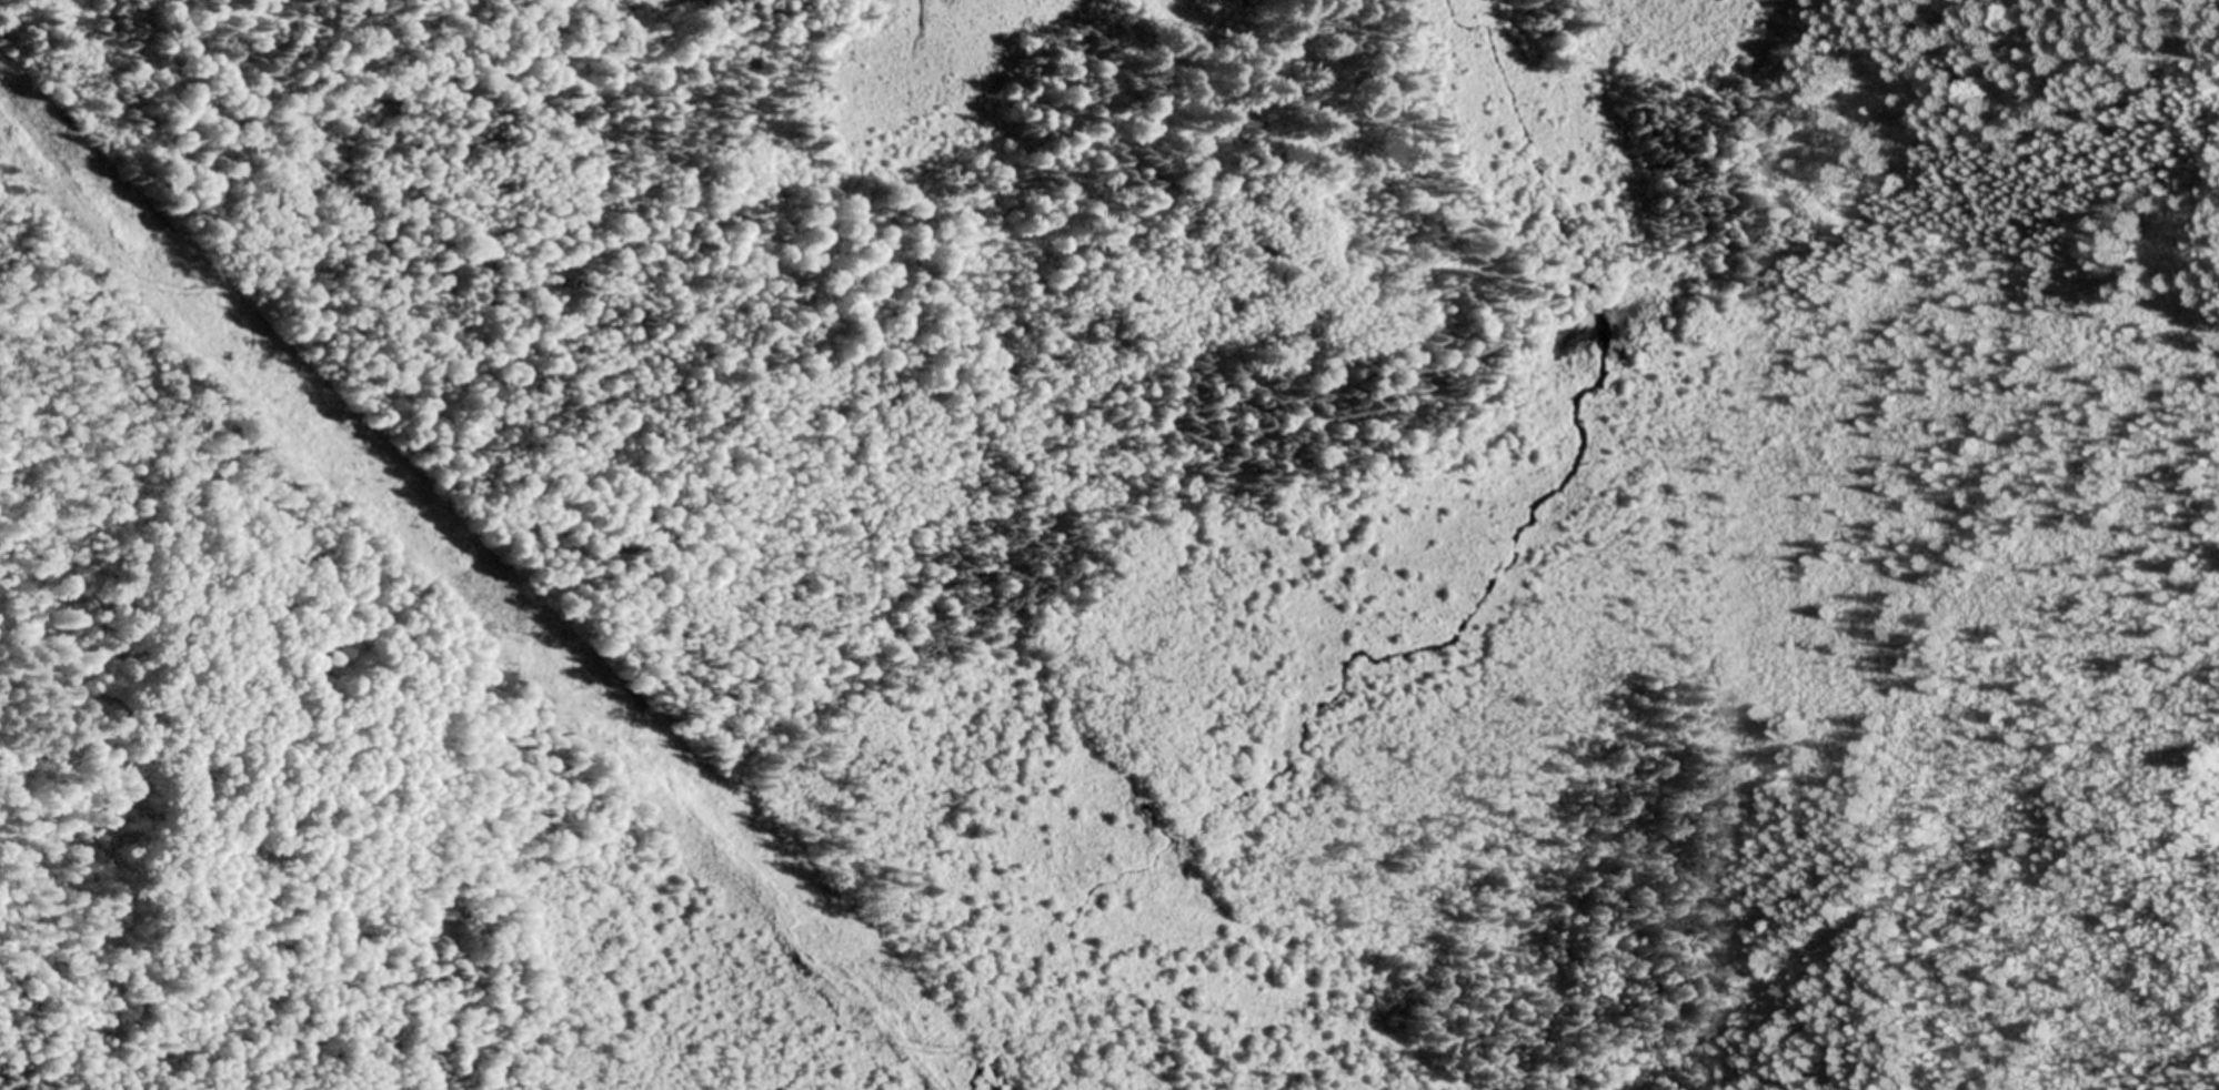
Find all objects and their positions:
power tower: (179, 296)
power tower: (525, 642)
power tower: (932, 1053)

